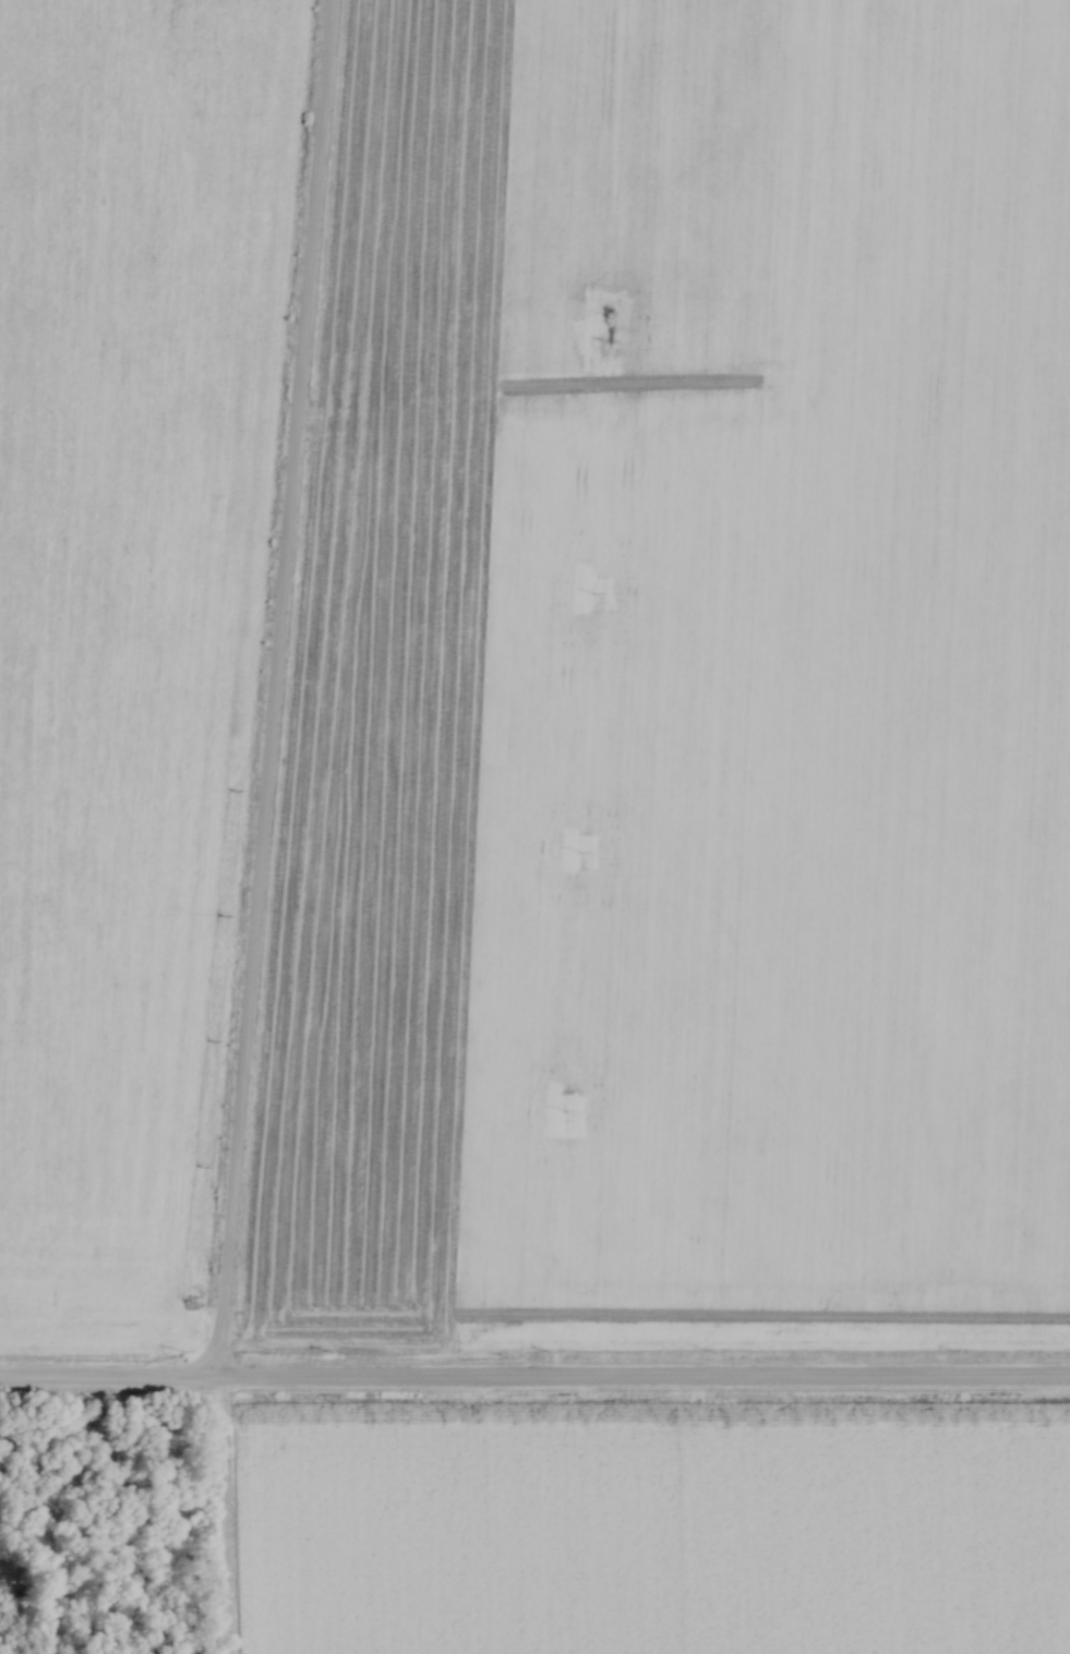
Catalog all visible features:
road: (273, 691)
road: (534, 1383)

